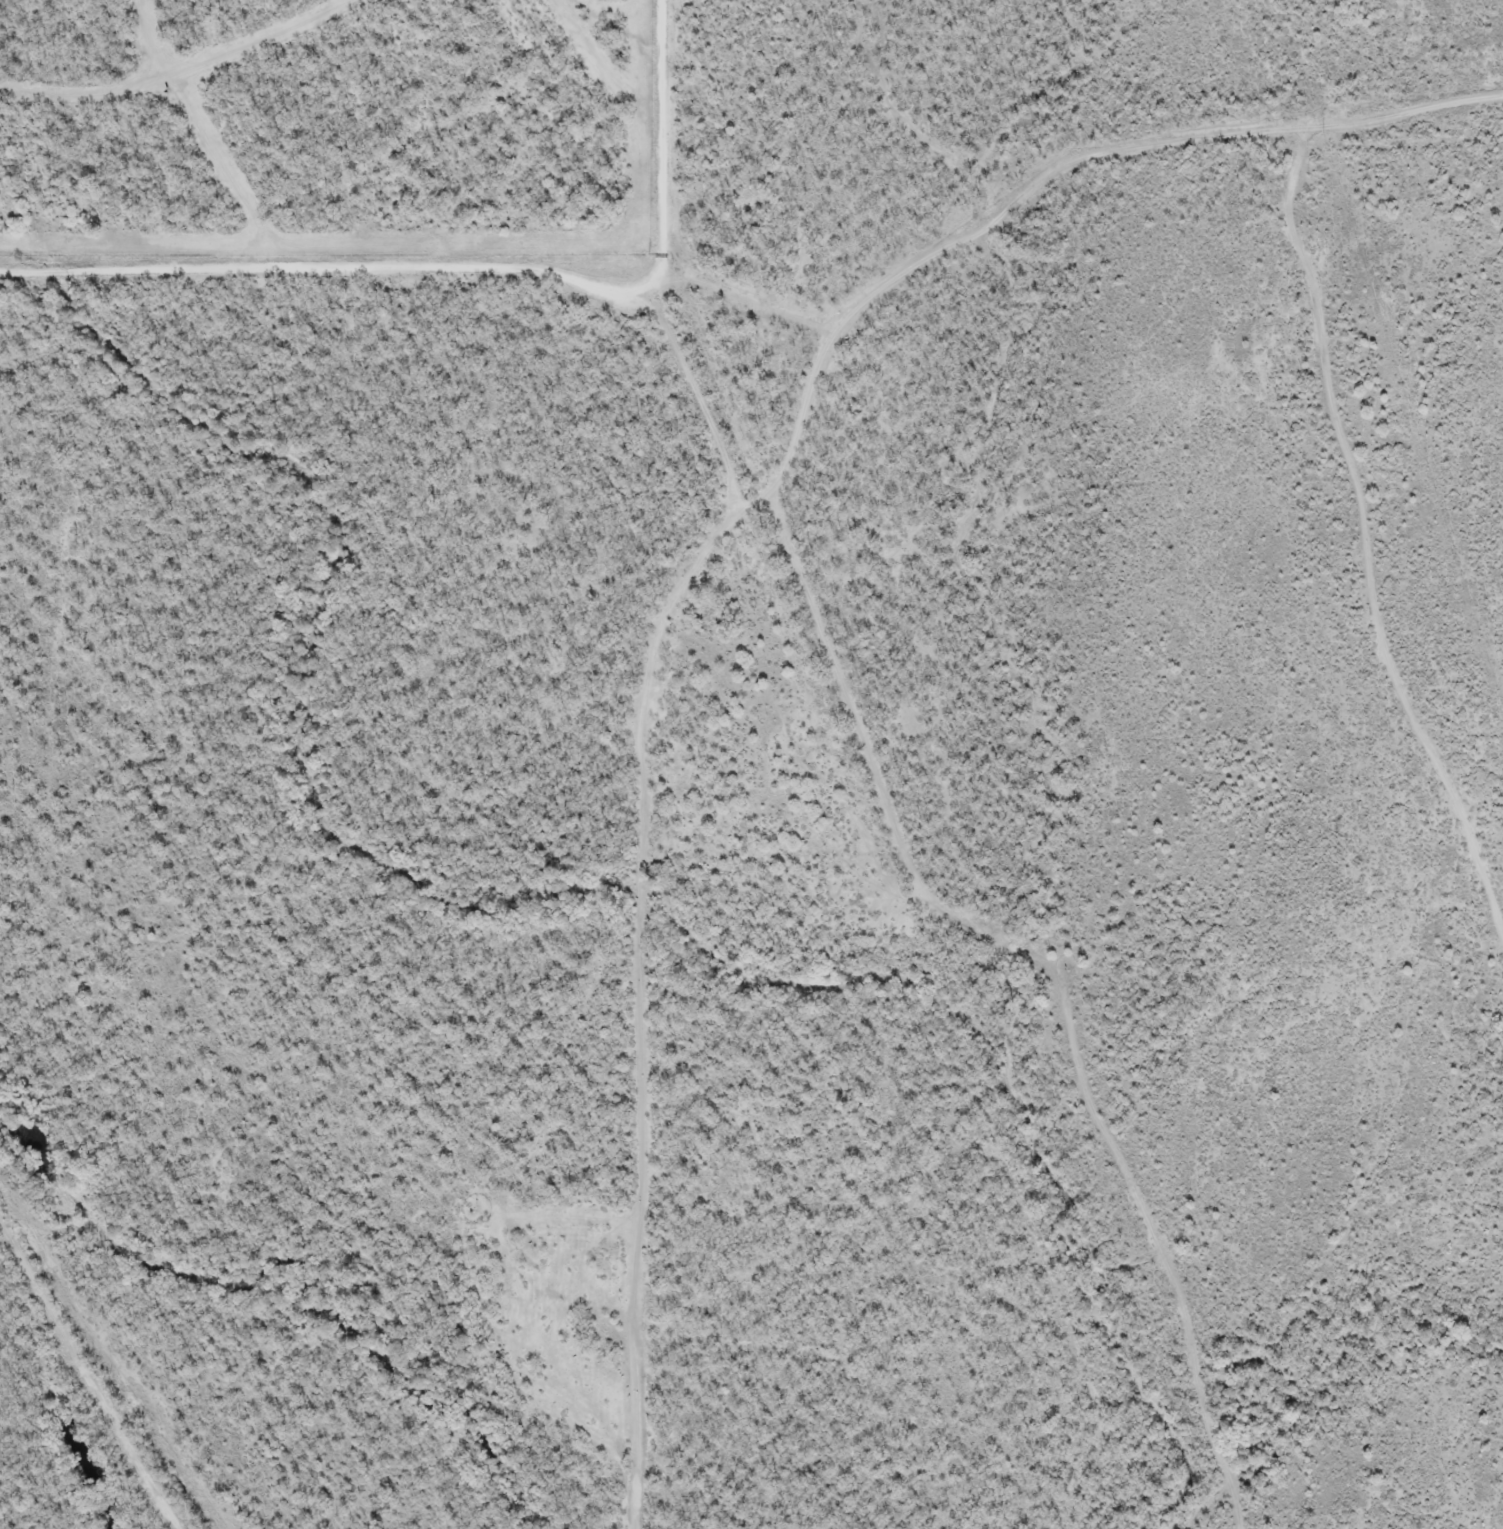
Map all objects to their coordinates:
road: (474, 271)

